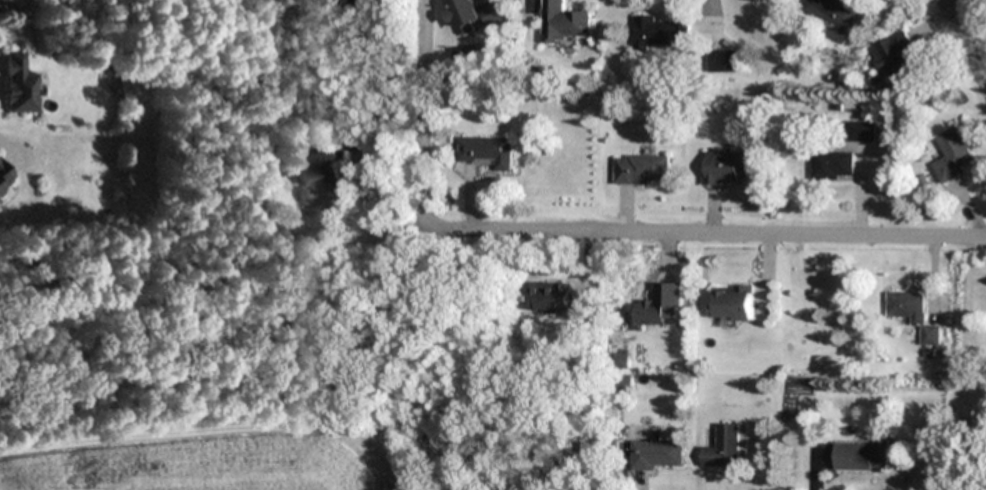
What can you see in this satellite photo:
building: (3, 0)
building: (832, 10)
building: (476, 13)
building: (563, 22)
building: (664, 31)
road: (963, 43)
building: (895, 59)
building: (724, 61)
building: (20, 85)
road: (423, 112)
building: (861, 132)
building: (488, 152)
building: (951, 157)
building: (832, 165)
building: (323, 168)
building: (726, 168)
building: (642, 169)
building: (271, 174)
building: (5, 176)
road: (706, 233)
building: (550, 297)
building: (733, 303)
building: (663, 306)
building: (910, 312)
building: (724, 448)
building: (657, 455)
building: (862, 457)
building: (450, 458)

